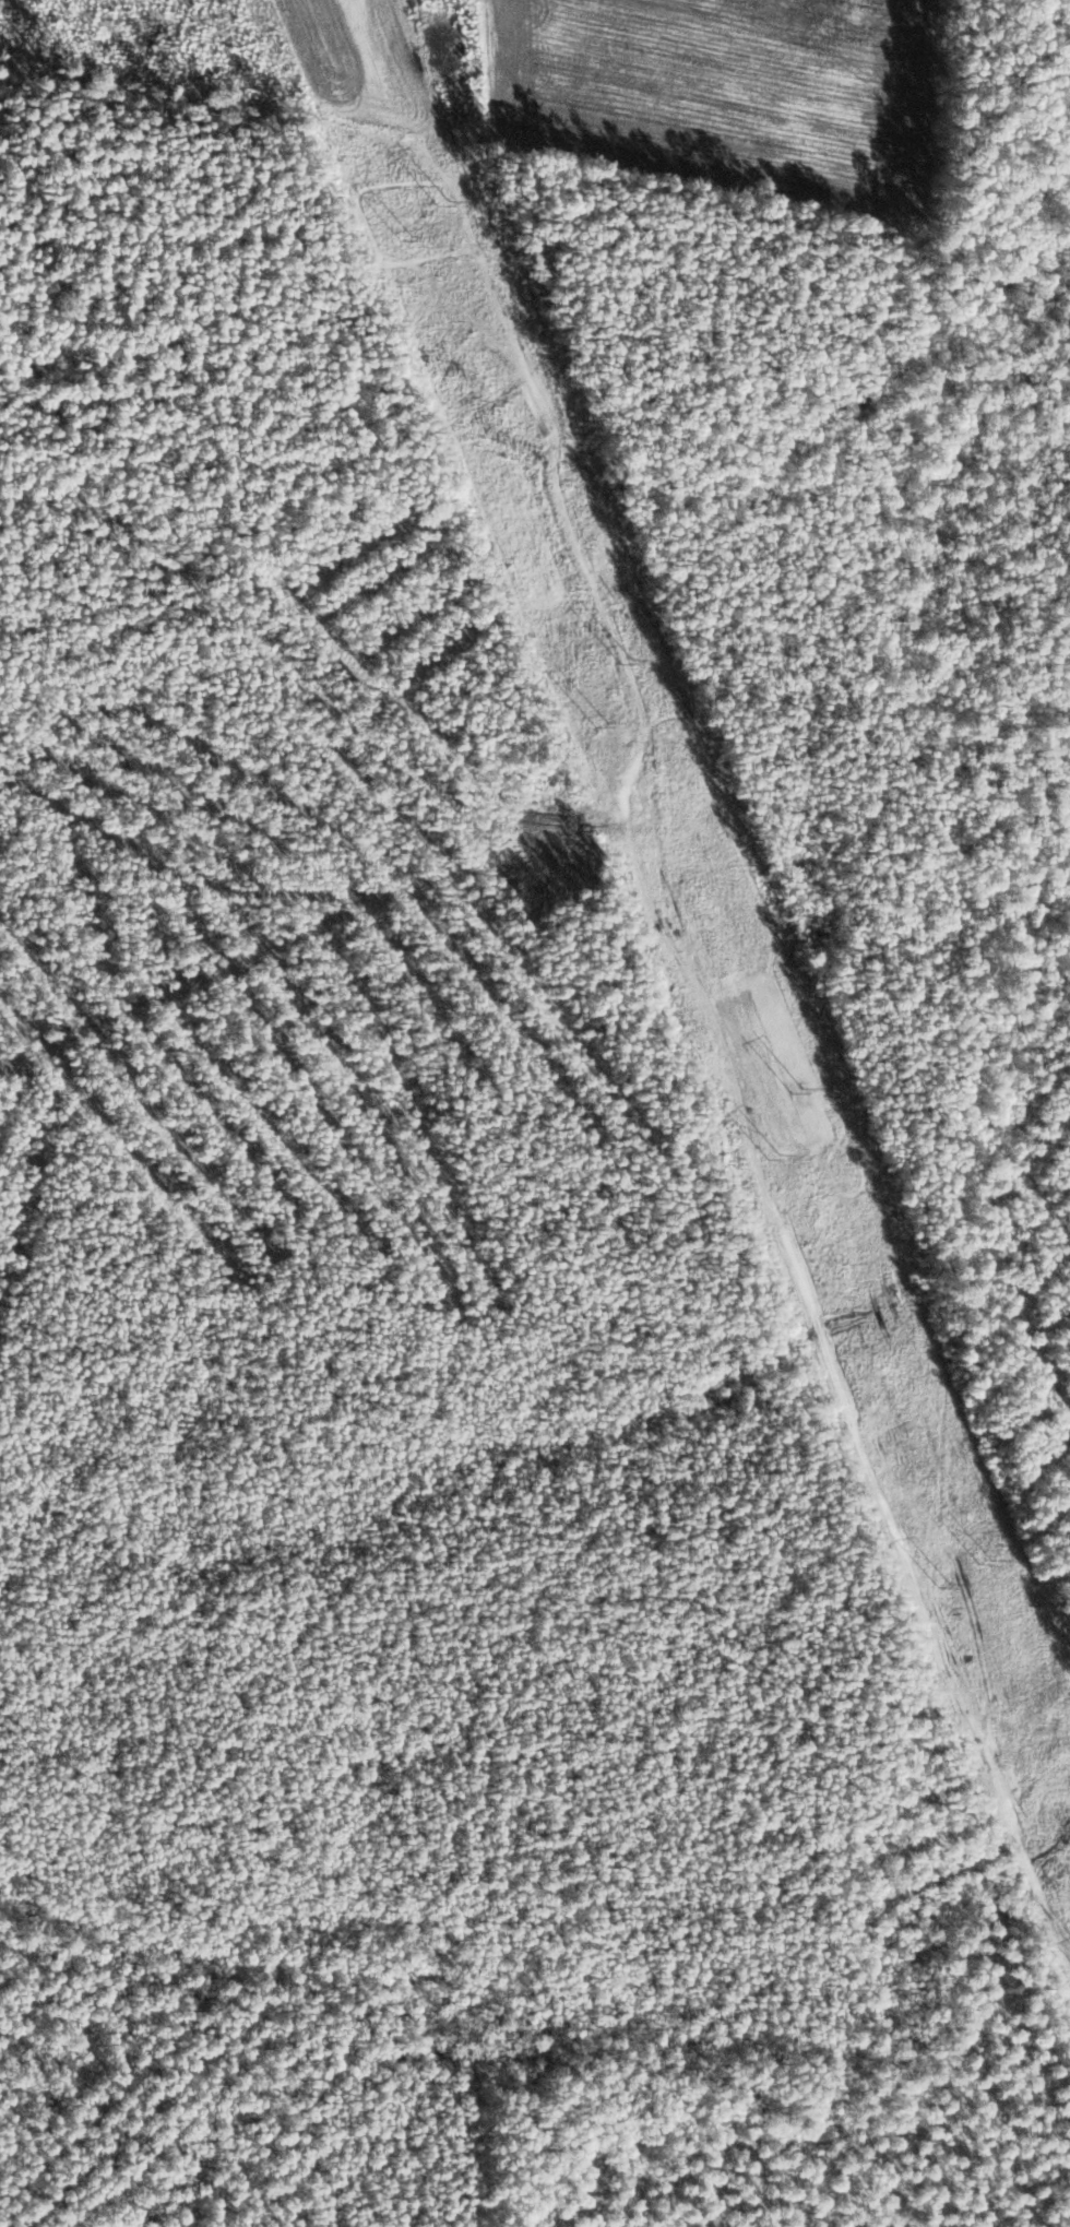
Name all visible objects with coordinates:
power tower: (442, 202)
power tower: (406, 238)
power tower: (625, 660)
power tower: (597, 726)
power tower: (798, 1090)
power tower: (775, 1156)
power tower: (989, 1563)
power tower: (946, 1584)

